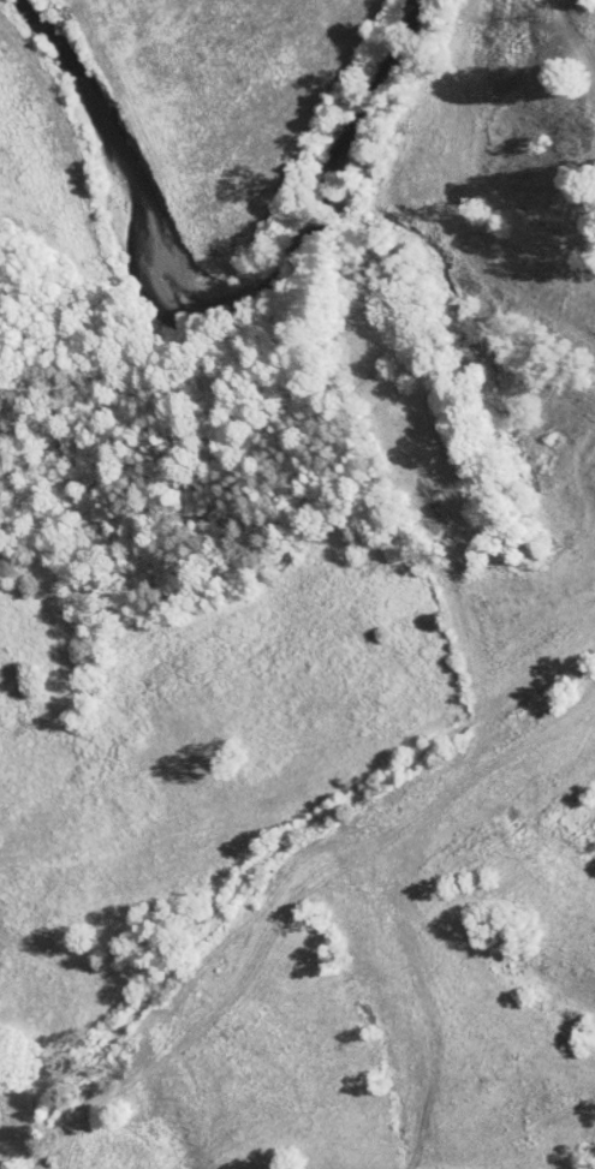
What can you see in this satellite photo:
road: (261, 860)

